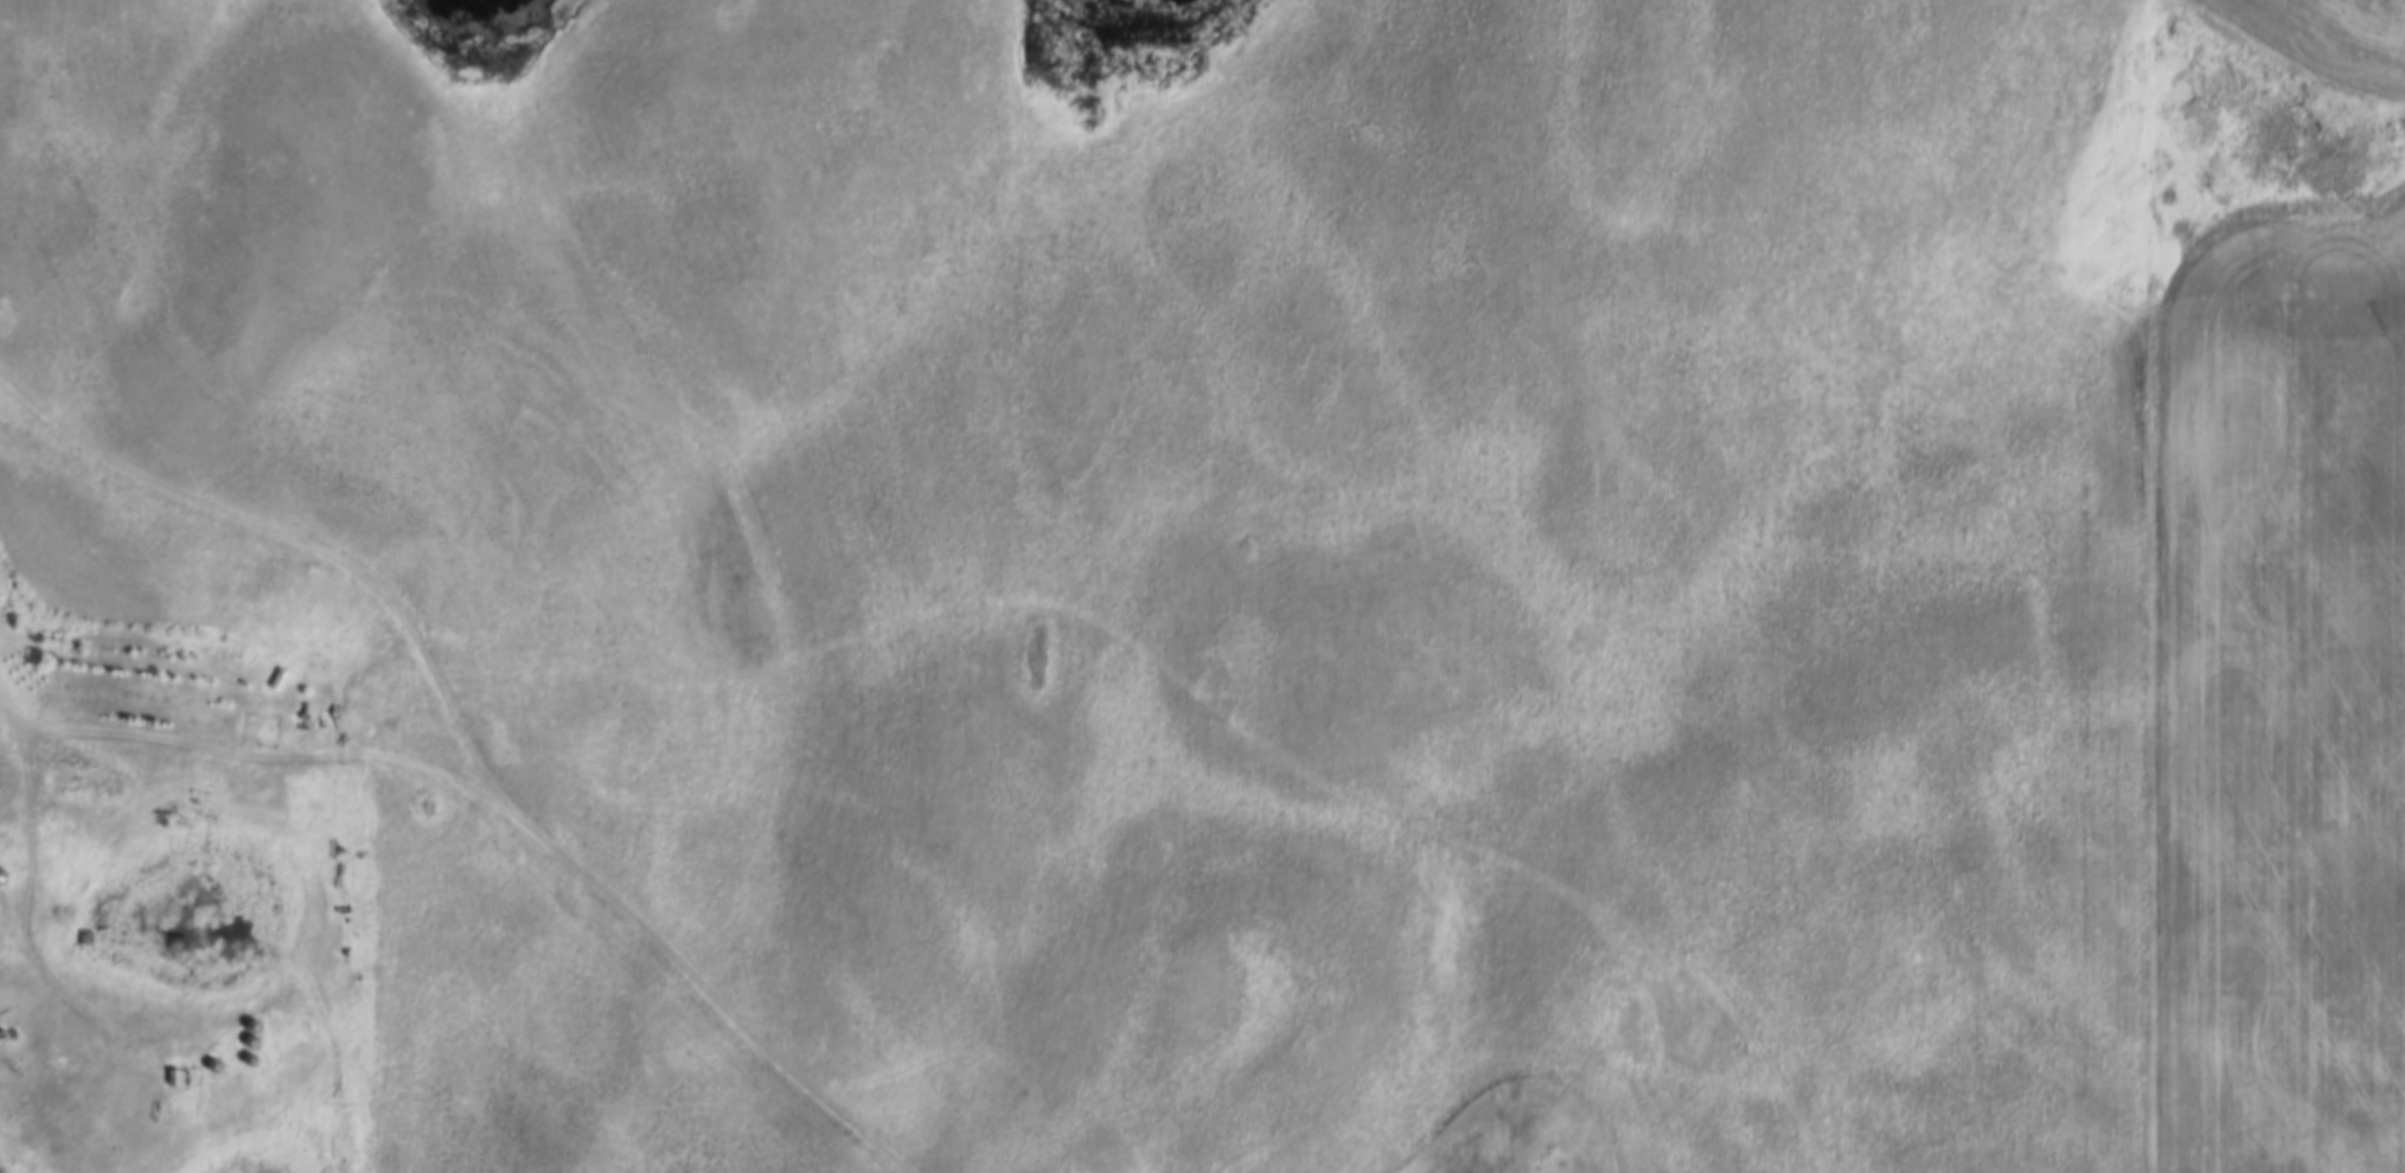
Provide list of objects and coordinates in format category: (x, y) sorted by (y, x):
building: (85, 782)
building: (5, 837)
building: (4, 854)
road: (467, 866)
building: (2, 874)
road: (23, 919)
building: (180, 1077)

